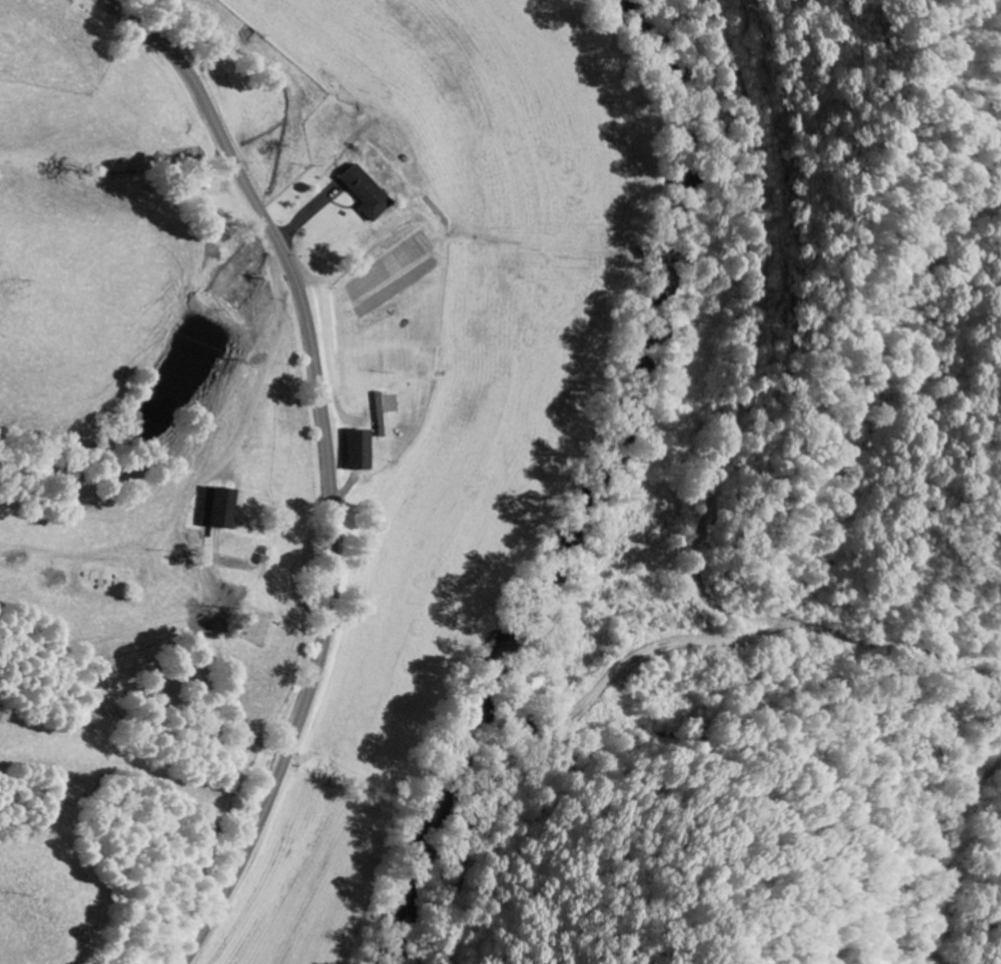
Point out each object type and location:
building: (365, 191)
road: (279, 271)
building: (386, 412)
building: (358, 450)
road: (333, 461)
river: (582, 488)
building: (216, 508)

